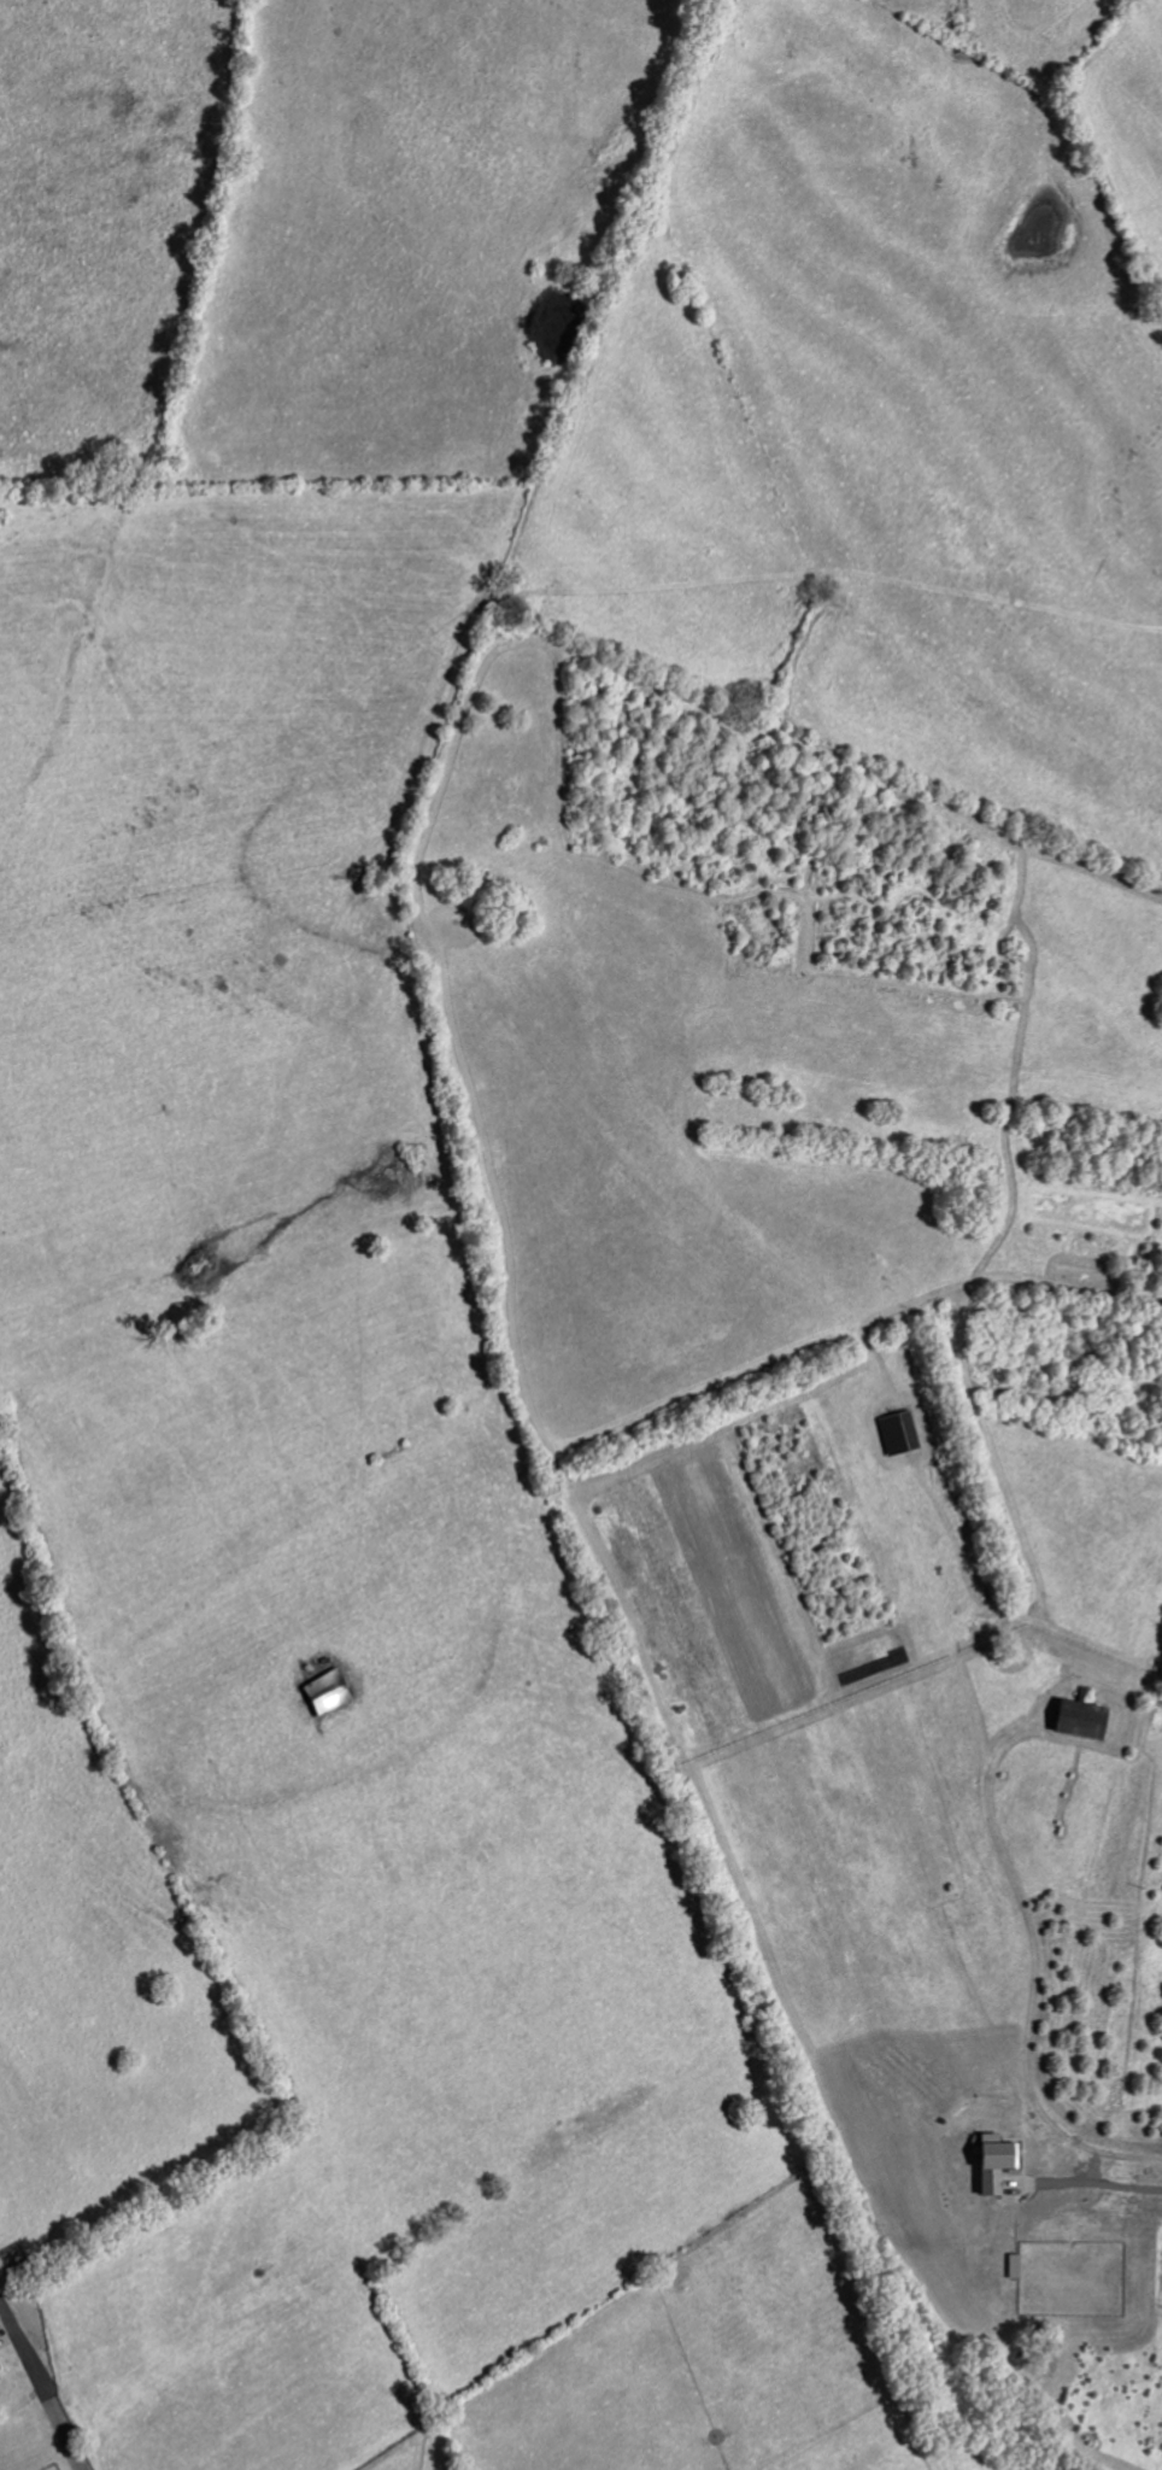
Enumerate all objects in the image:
building: (323, 1693)
building: (1076, 1720)
road: (1029, 1980)
road: (41, 2392)

